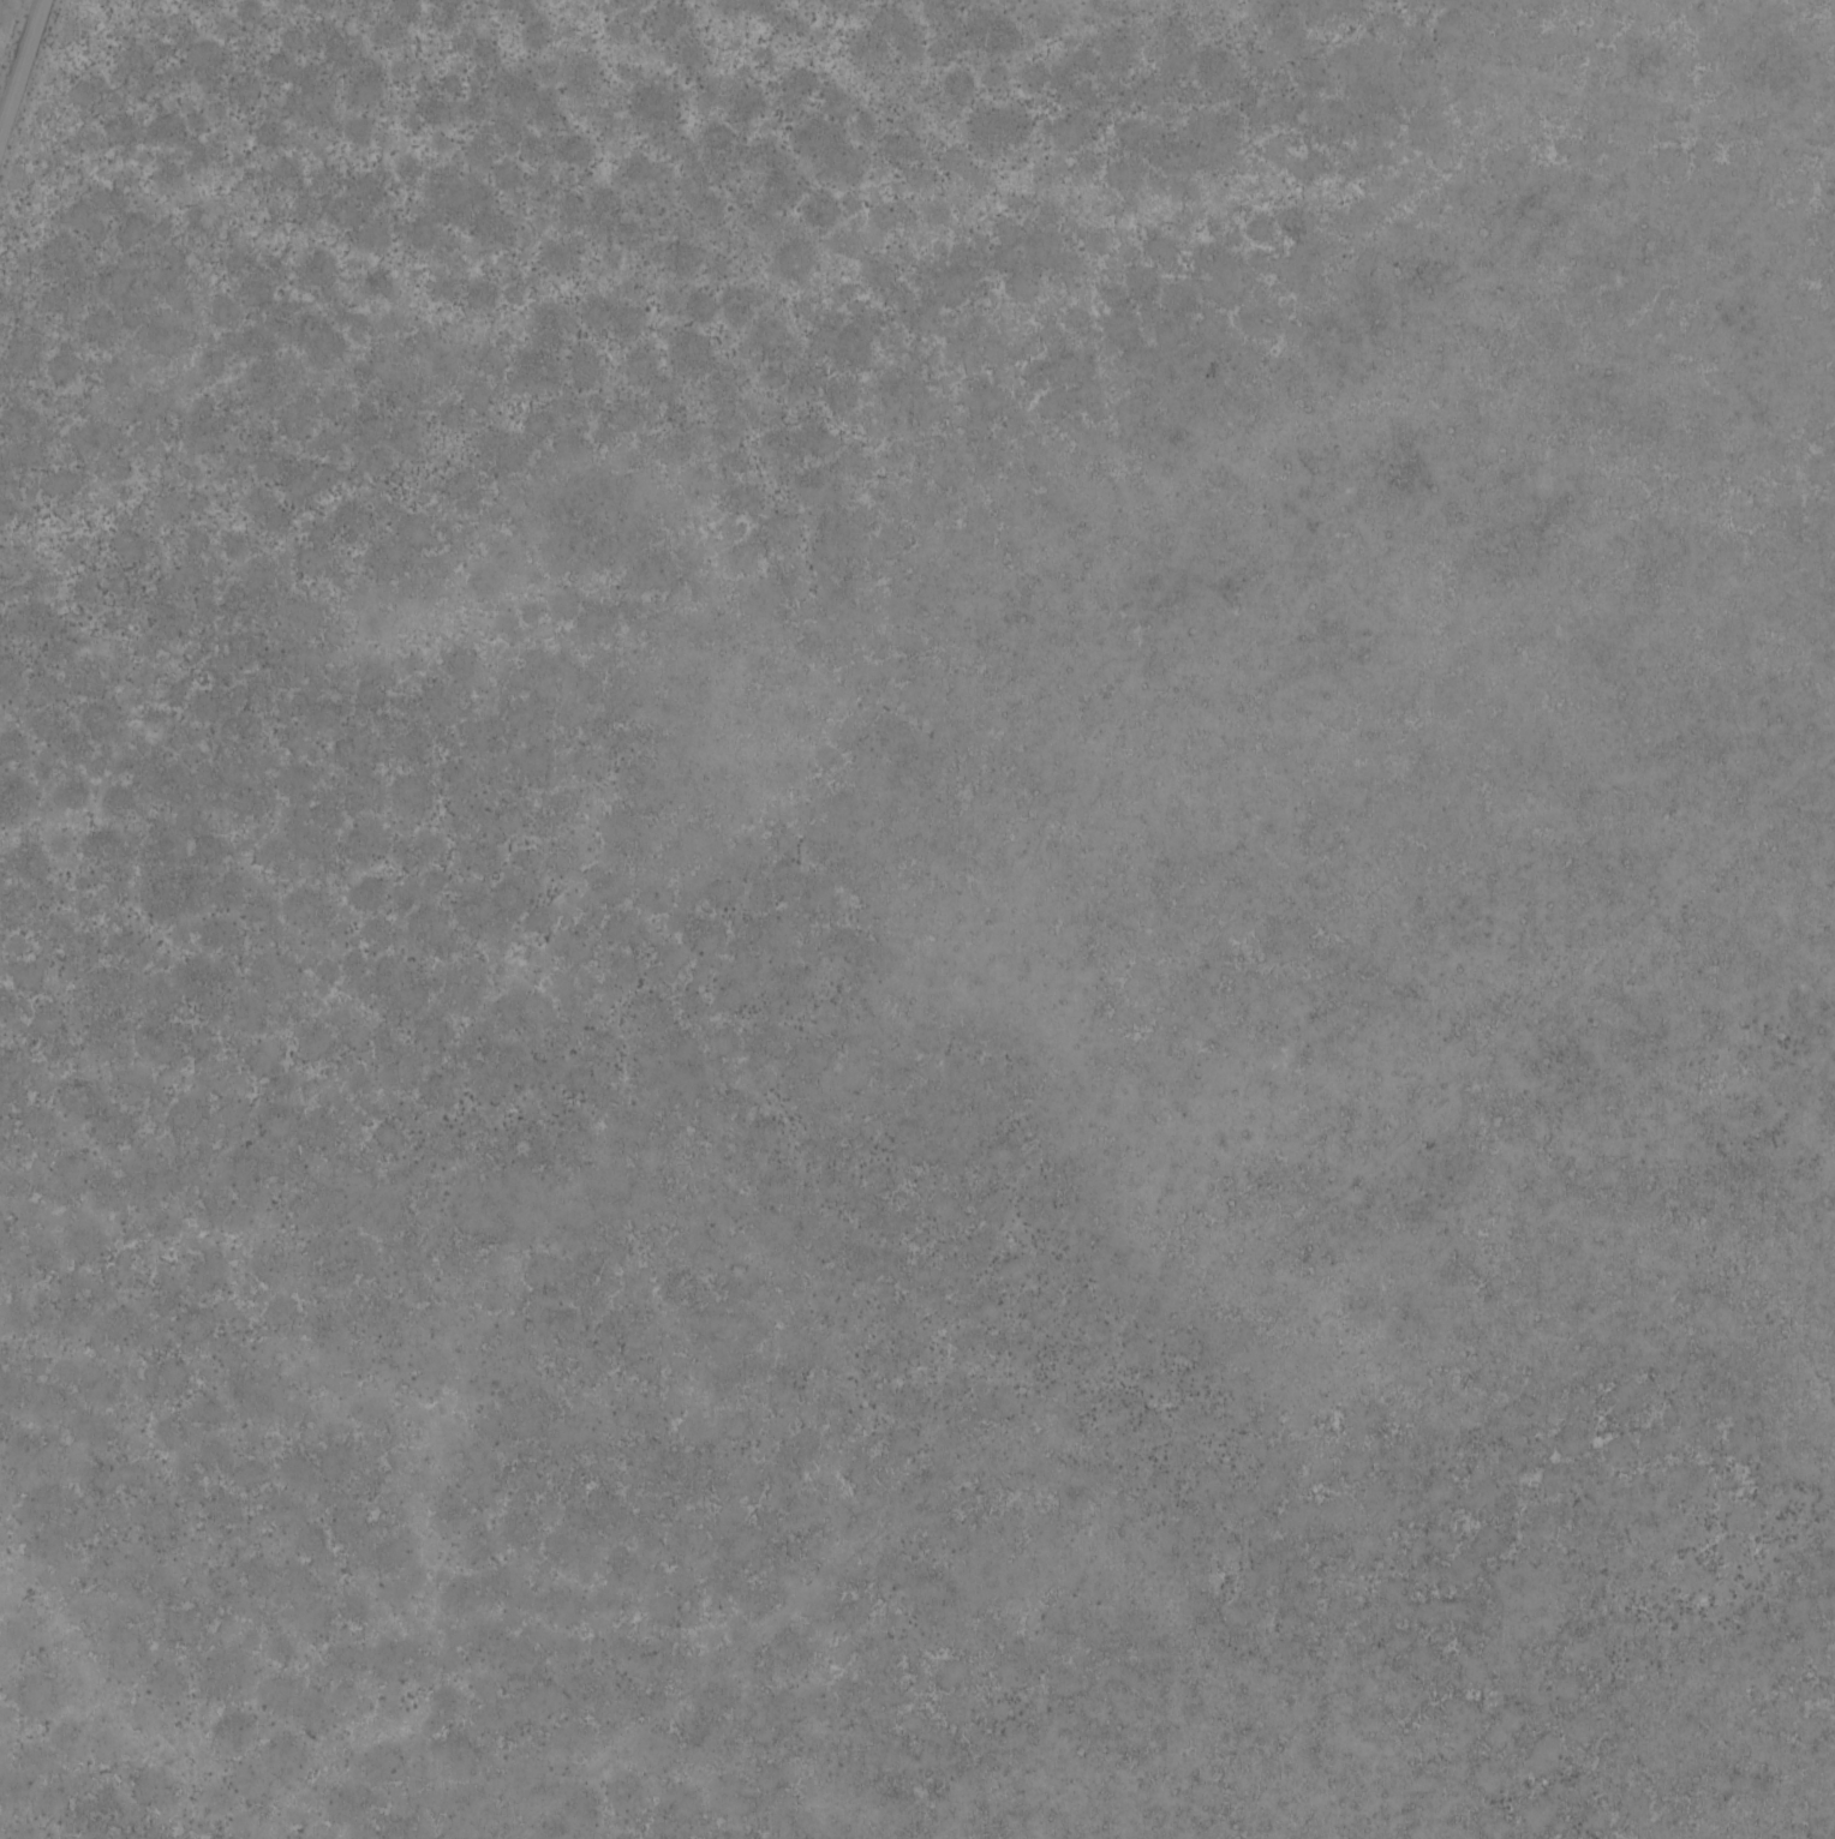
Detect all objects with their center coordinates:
road: (23, 72)

